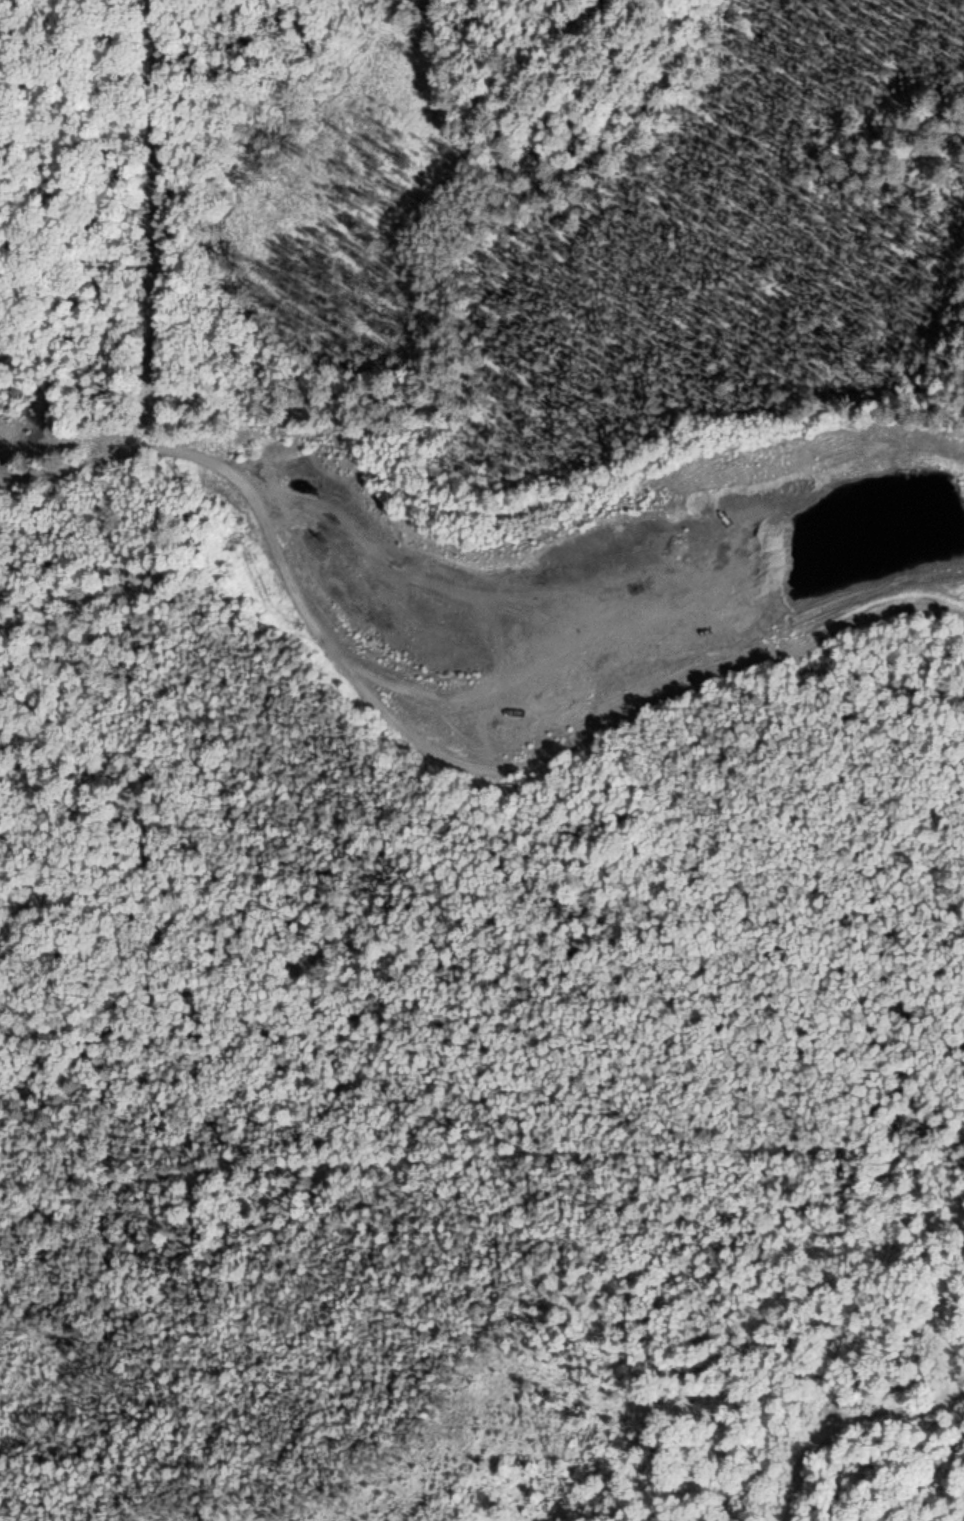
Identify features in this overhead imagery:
road: (2, 2)
quarry: (594, 568)
road: (403, 571)
road: (426, 748)

